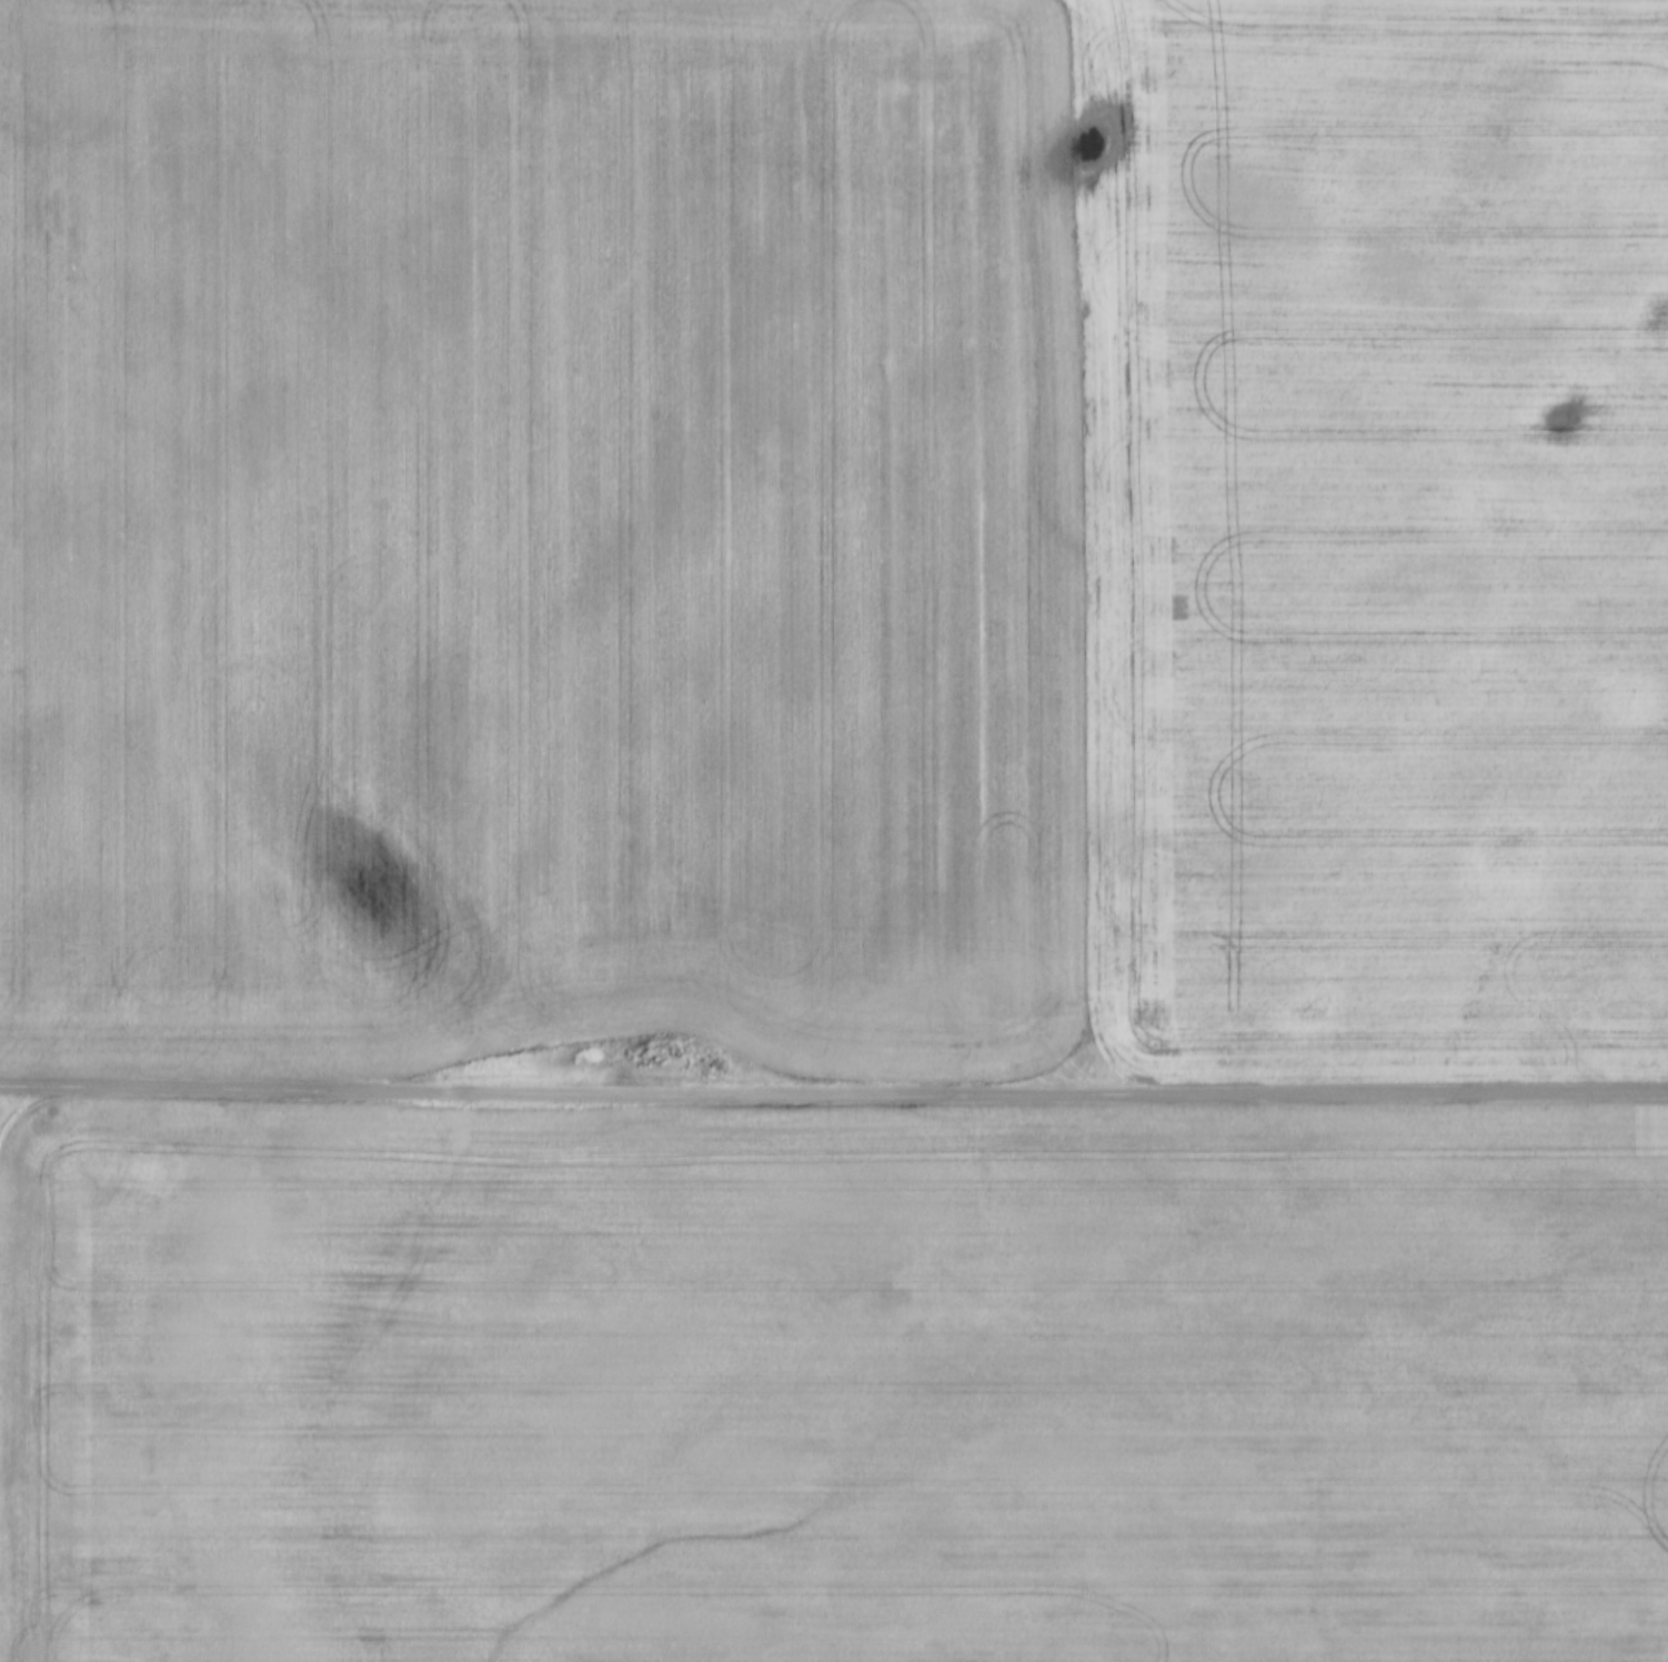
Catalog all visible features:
road: (834, 1092)

